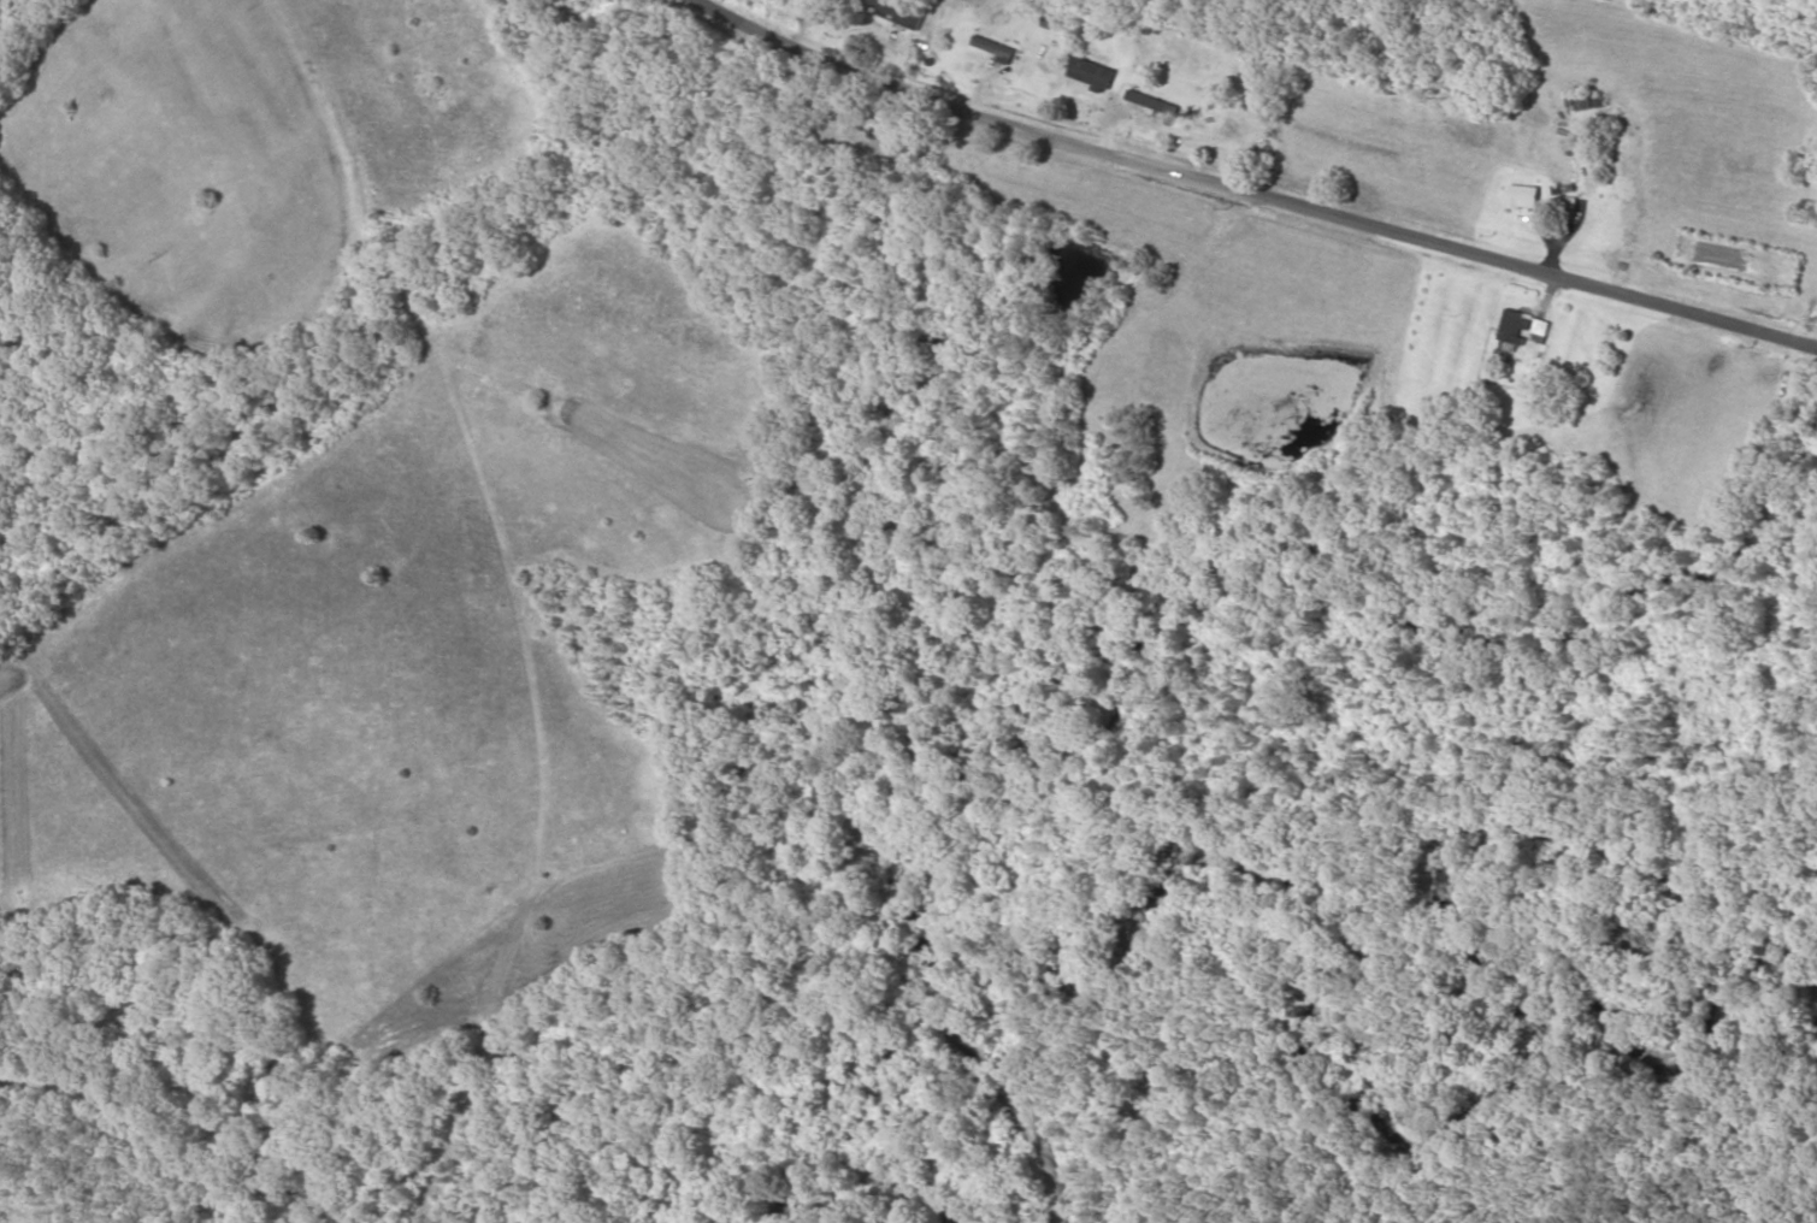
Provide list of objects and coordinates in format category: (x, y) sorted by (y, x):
building: (898, 13)
building: (995, 49)
building: (1092, 75)
building: (1141, 100)
building: (1581, 104)
road: (1264, 187)
road: (373, 197)
building: (1524, 199)
building: (1571, 209)
building: (1522, 335)

